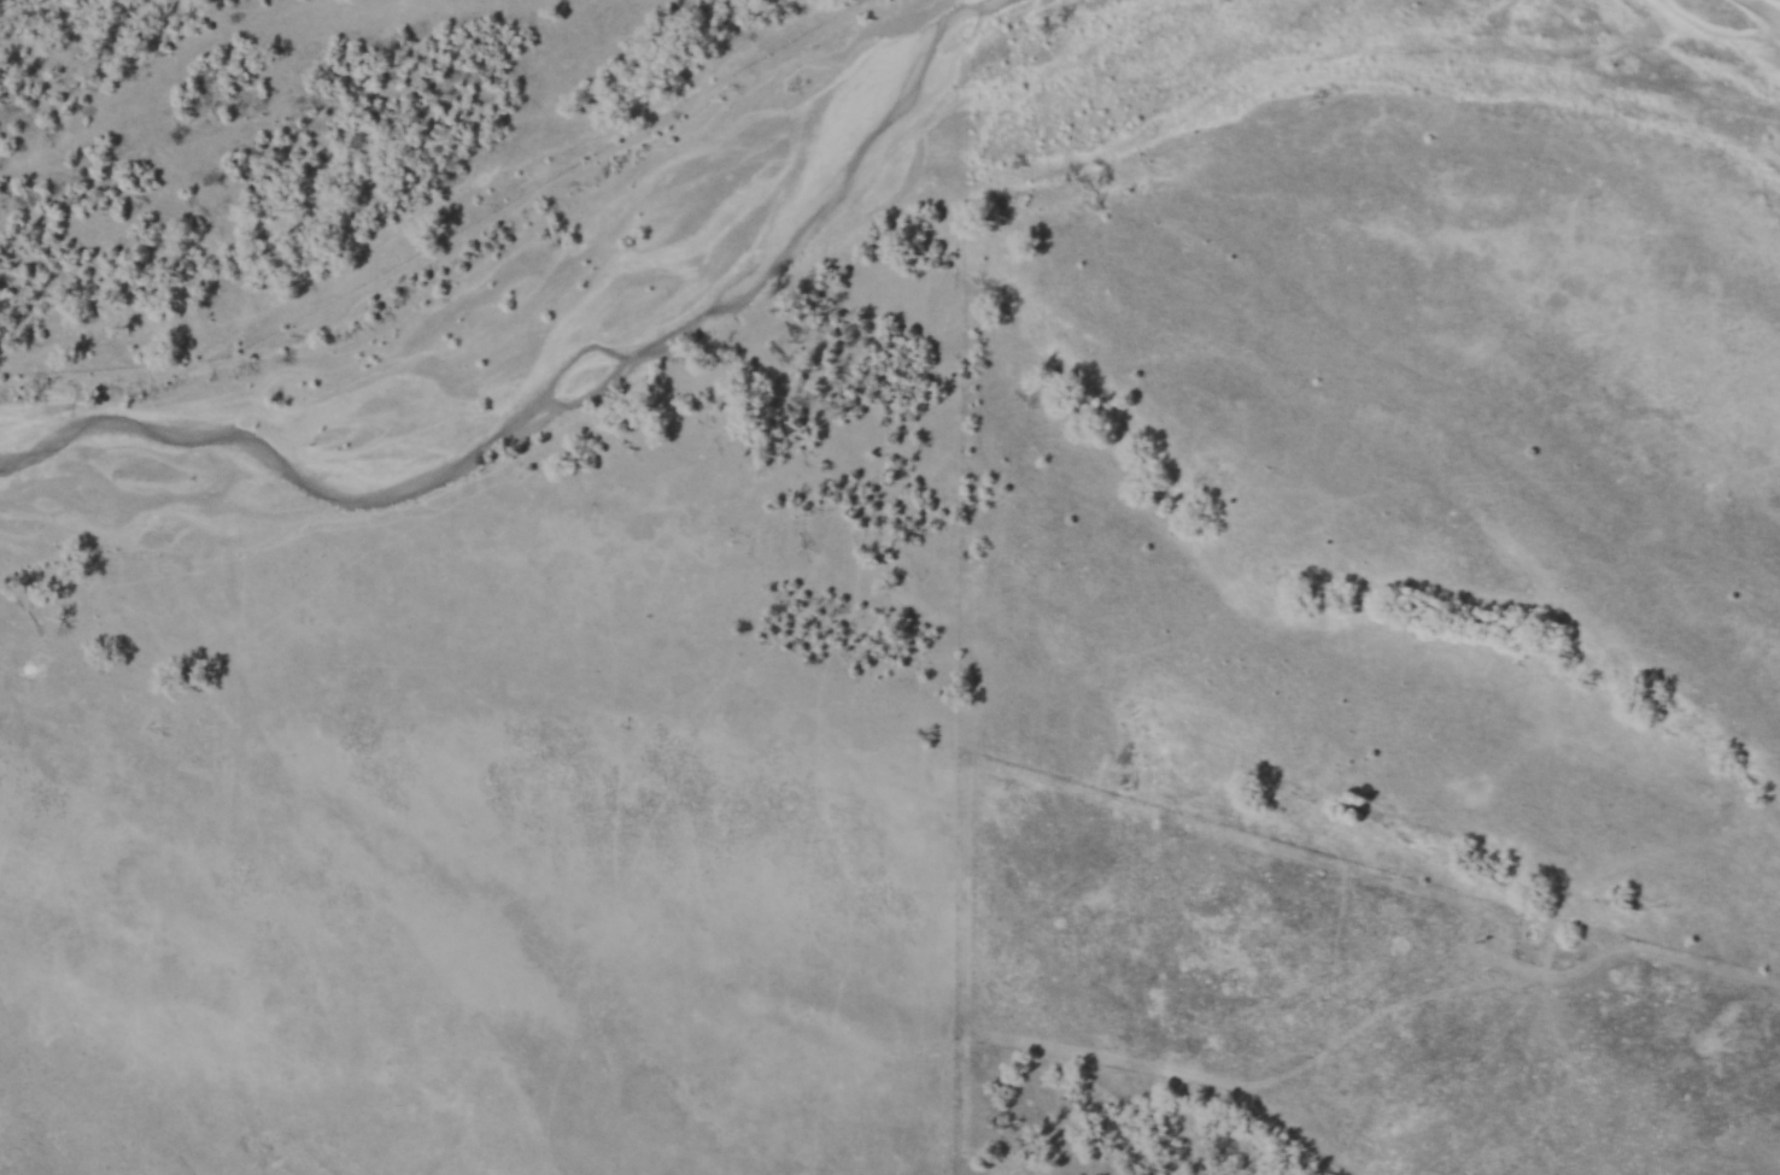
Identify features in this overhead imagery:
river: (1766, 6)
river: (548, 388)

